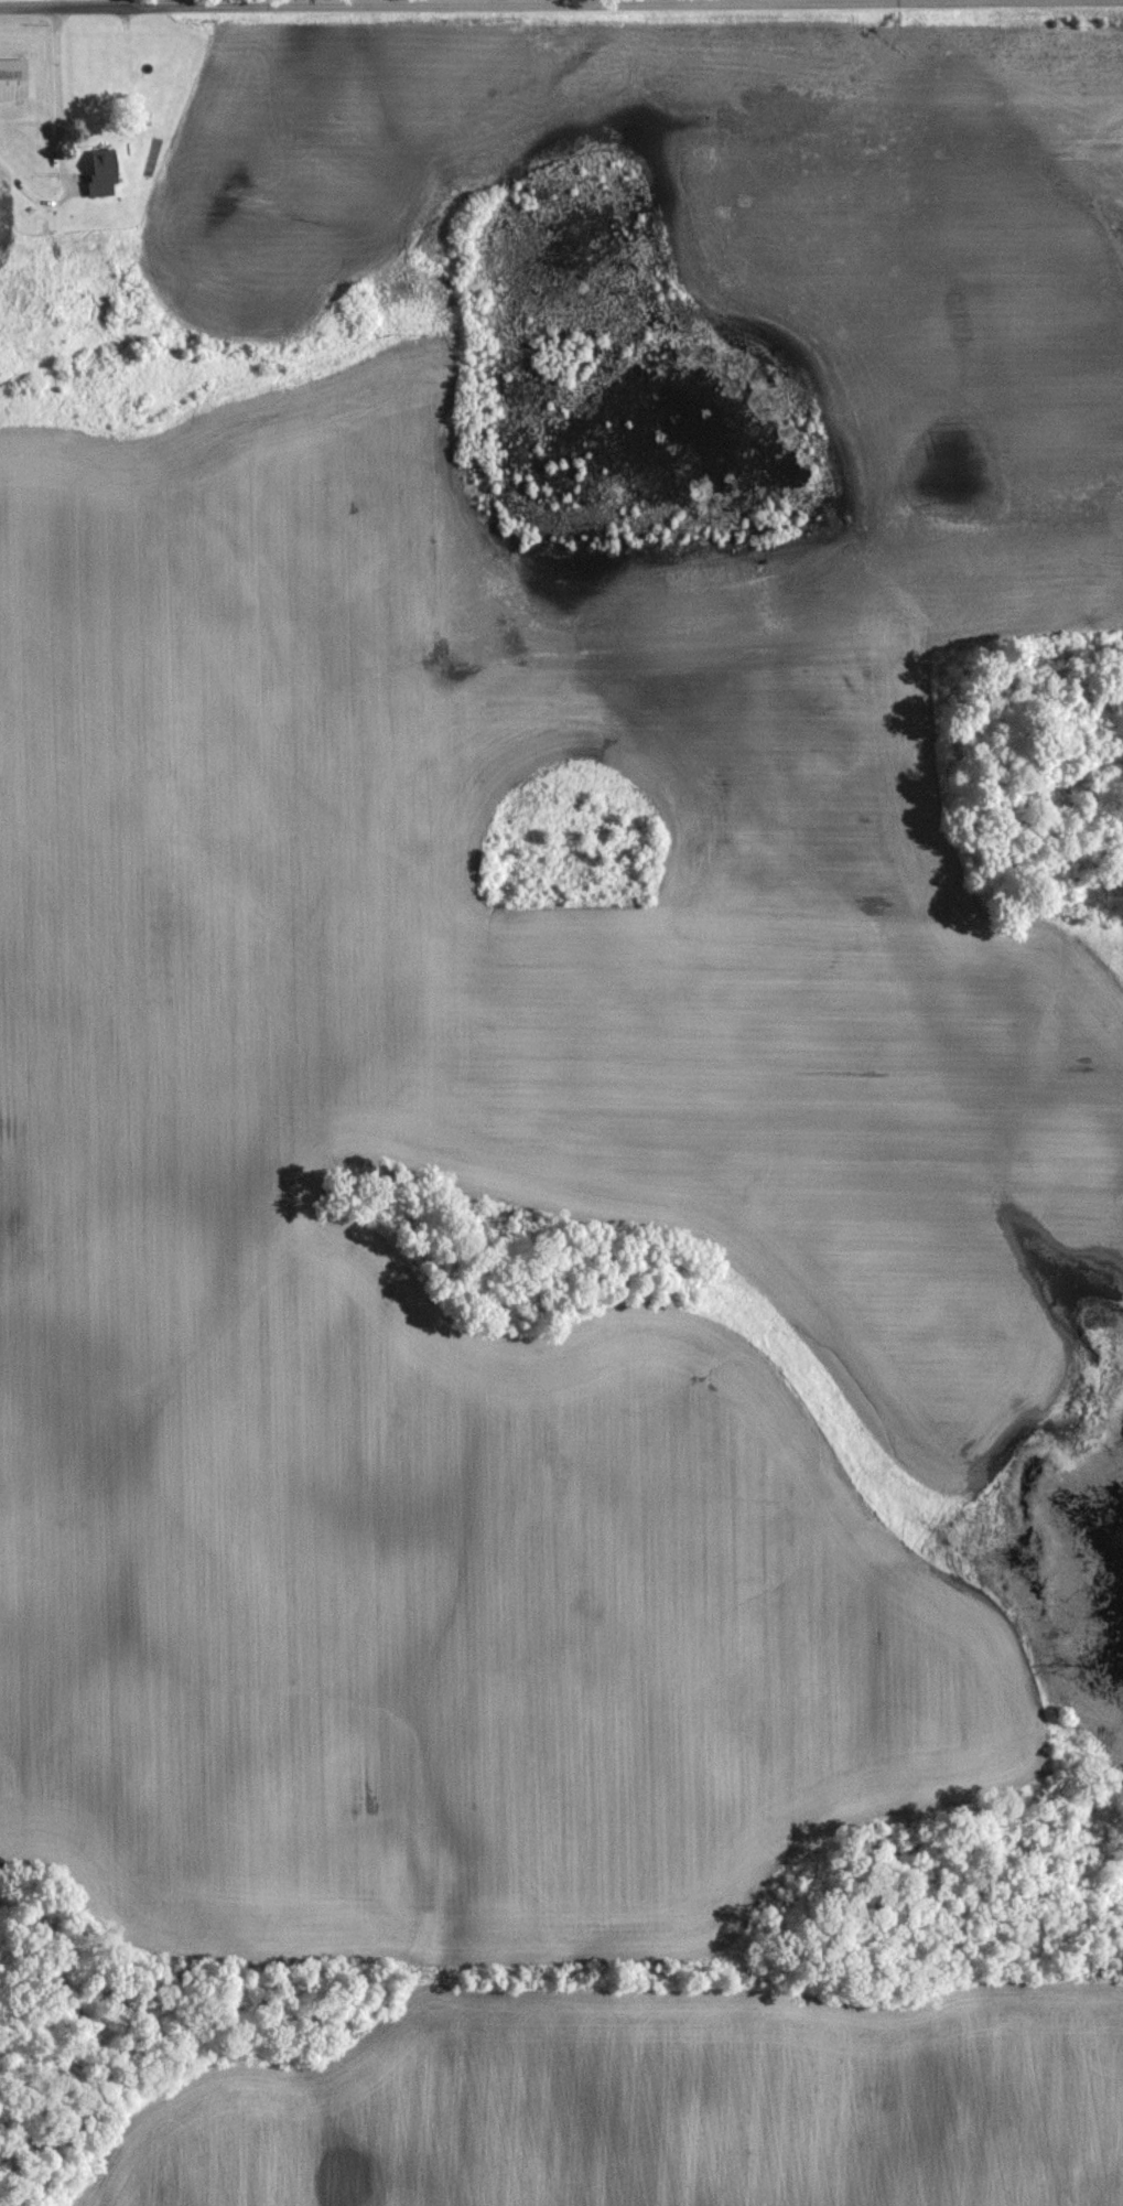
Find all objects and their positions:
road: (561, 7)
building: (12, 79)
road: (61, 146)
building: (98, 173)

